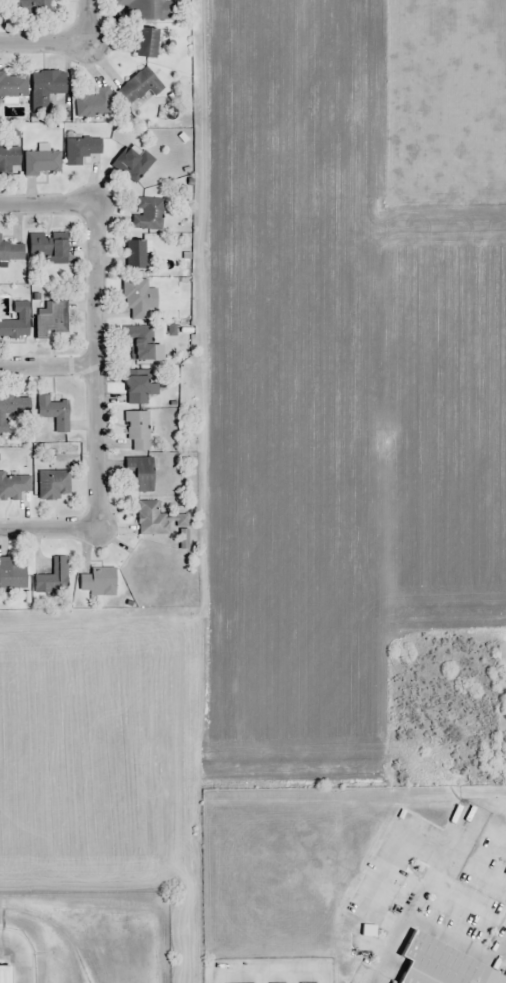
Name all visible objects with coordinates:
building: (144, 7)
building: (45, 10)
road: (93, 21)
road: (47, 43)
building: (147, 43)
building: (140, 86)
building: (11, 88)
building: (44, 91)
building: (93, 105)
building: (79, 151)
building: (9, 157)
building: (40, 163)
building: (130, 166)
road: (46, 199)
building: (148, 214)
building: (47, 245)
building: (12, 253)
building: (135, 255)
building: (137, 299)
building: (50, 321)
building: (17, 323)
building: (140, 343)
road: (48, 362)
road: (97, 362)
building: (138, 388)
building: (11, 414)
building: (55, 415)
building: (136, 431)
building: (141, 474)
building: (53, 486)
building: (13, 488)
building: (151, 520)
road: (50, 527)
building: (10, 575)
building: (51, 579)
building: (98, 583)
building: (442, 963)
road: (272, 972)
building: (8, 973)

